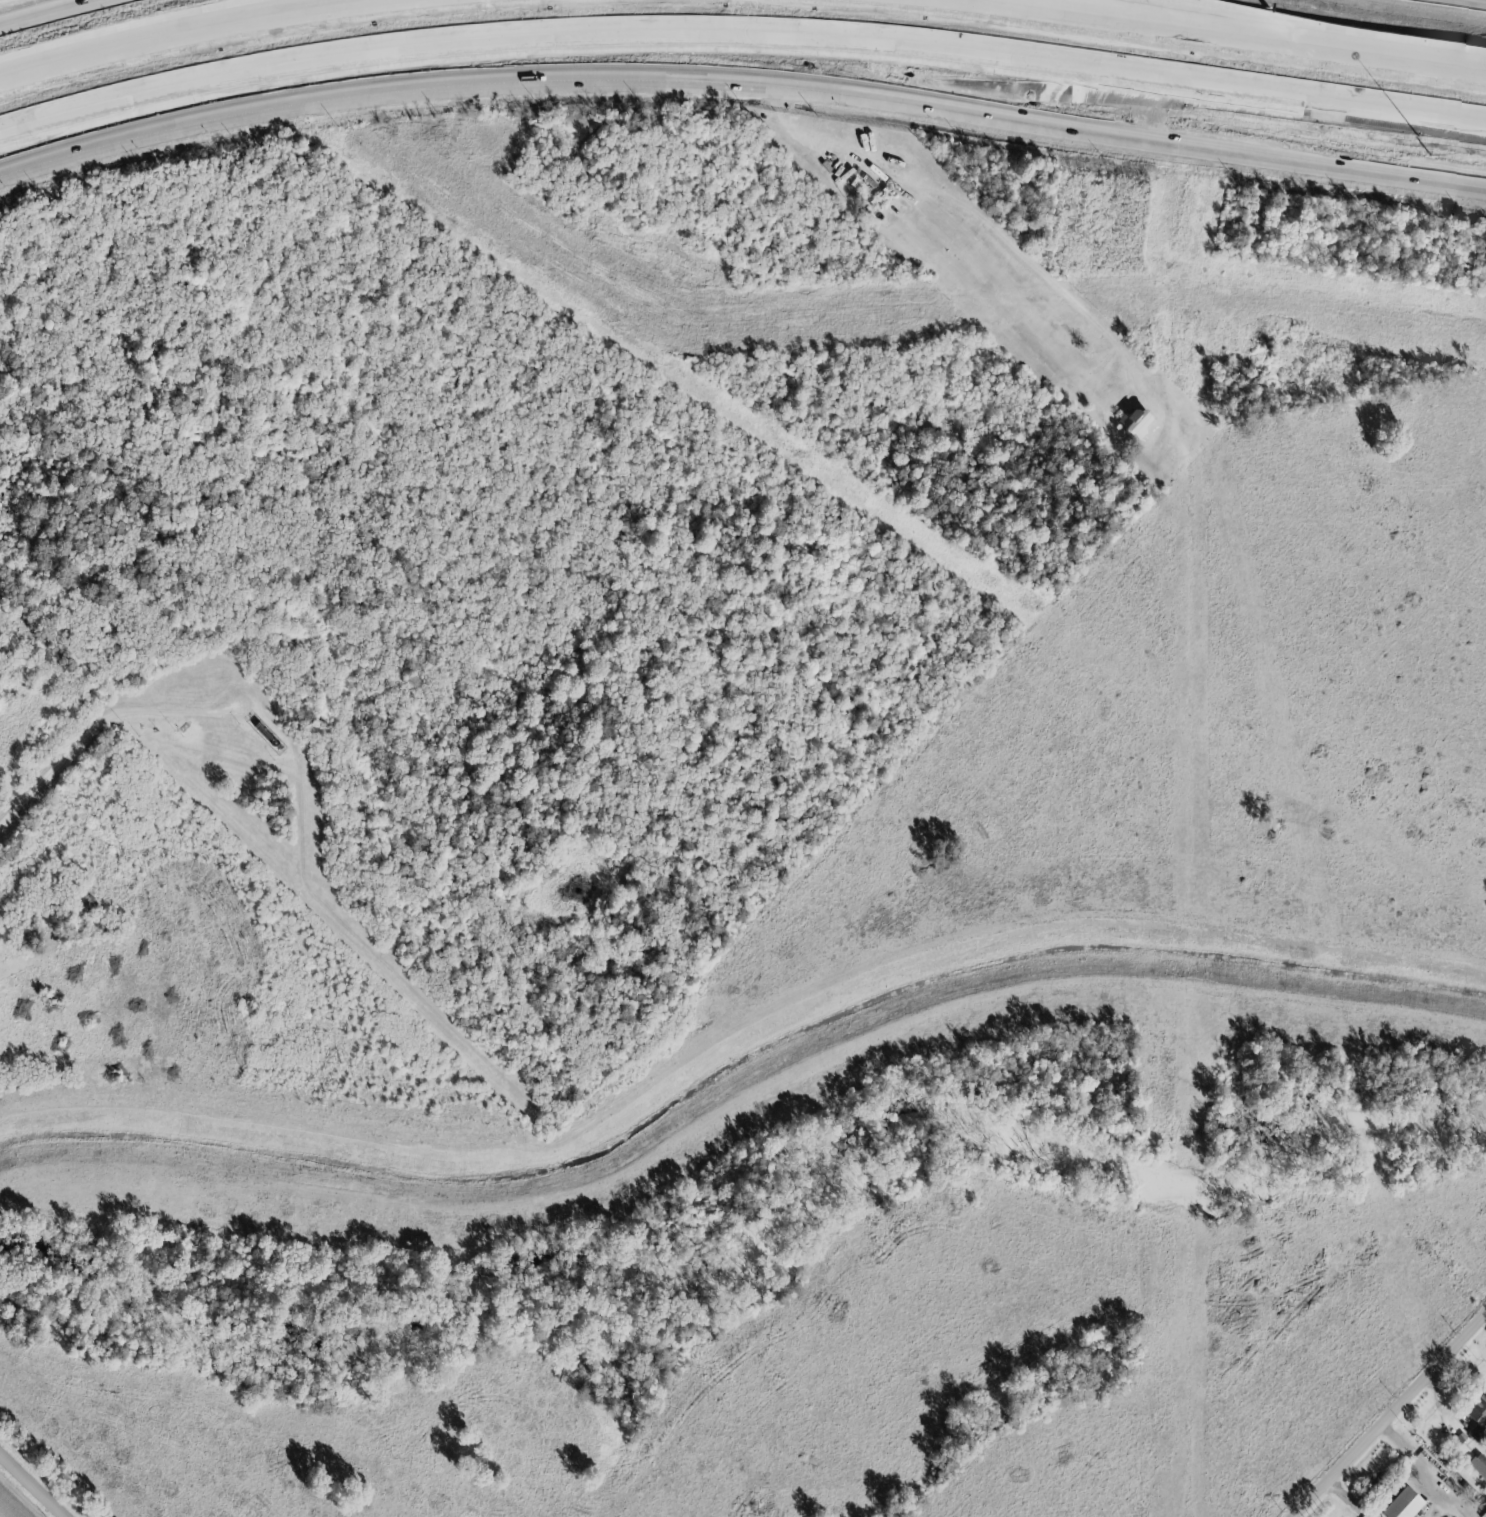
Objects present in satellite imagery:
road: (1466, 2)
road: (51, 12)
road: (186, 31)
road: (1300, 31)
road: (1233, 34)
road: (740, 37)
road: (740, 86)
road: (1065, 95)
building: (1132, 424)
road: (96, 728)
road: (1386, 1411)
building: (1476, 1416)
building: (1478, 1466)
road: (31, 1486)
building: (1399, 1505)
building: (1483, 1514)

